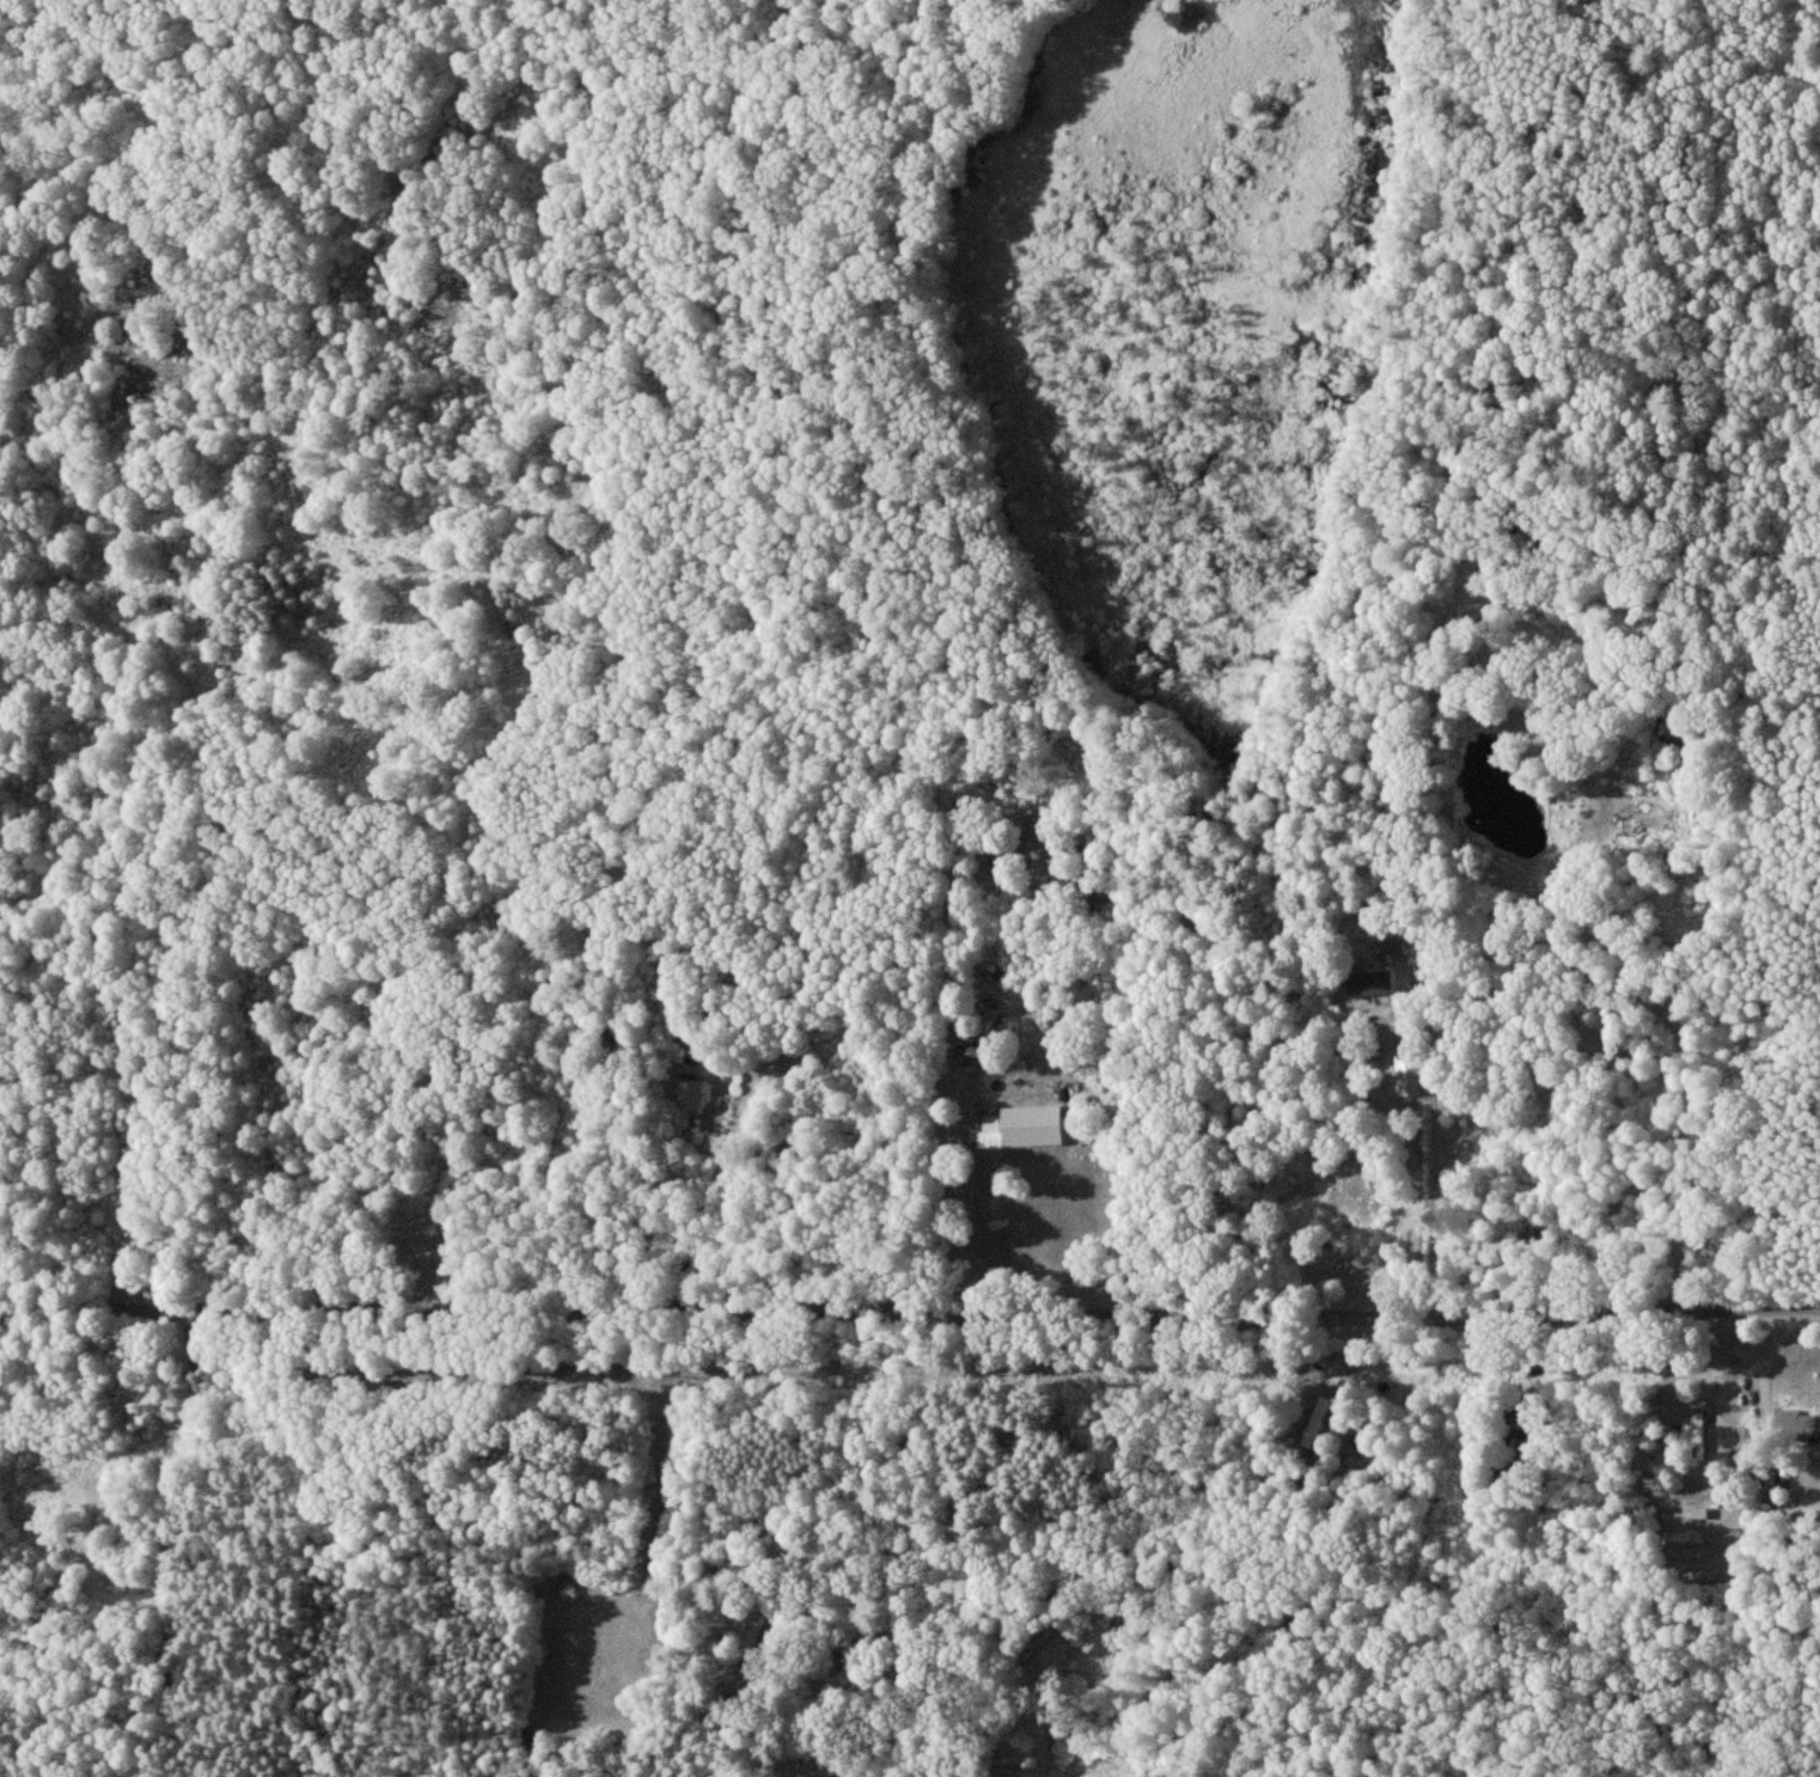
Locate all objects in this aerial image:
building: (1038, 831)
road: (1502, 948)
building: (1372, 983)
building: (1409, 1074)
road: (947, 1077)
road: (497, 1118)
building: (1022, 1126)
road: (909, 1313)
building: (1314, 1422)
building: (1800, 1424)
building: (832, 1776)

